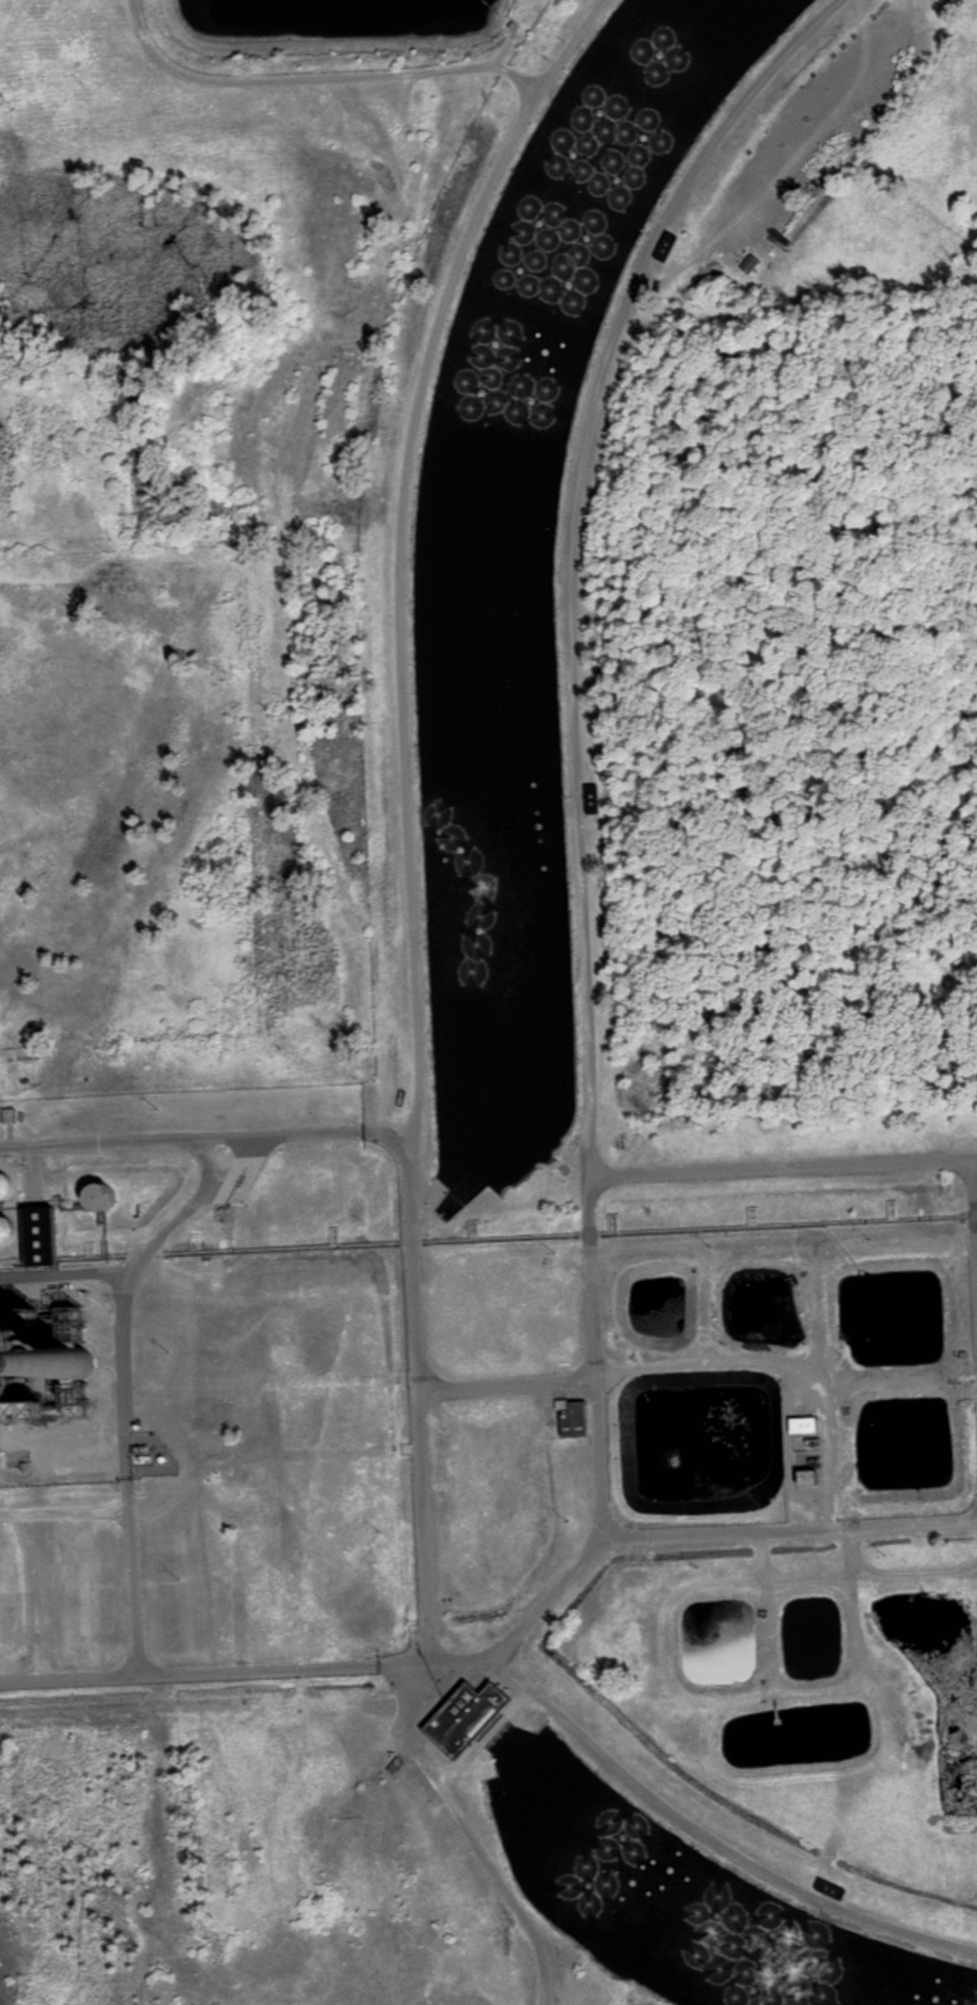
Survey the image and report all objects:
road: (317, 80)
building: (647, 117)
building: (517, 227)
building: (665, 249)
building: (750, 265)
building: (591, 801)
road: (417, 999)
road: (592, 1092)
road: (207, 1141)
road: (784, 1170)
building: (2, 1189)
building: (2, 1232)
building: (36, 1239)
power plant: (57, 1333)
chimney: (85, 1366)
building: (42, 1370)
road: (510, 1386)
building: (572, 1420)
building: (0, 1452)
road: (790, 1529)
road: (251, 1673)
building: (463, 1718)
building: (830, 1890)
building: (802, 1928)

